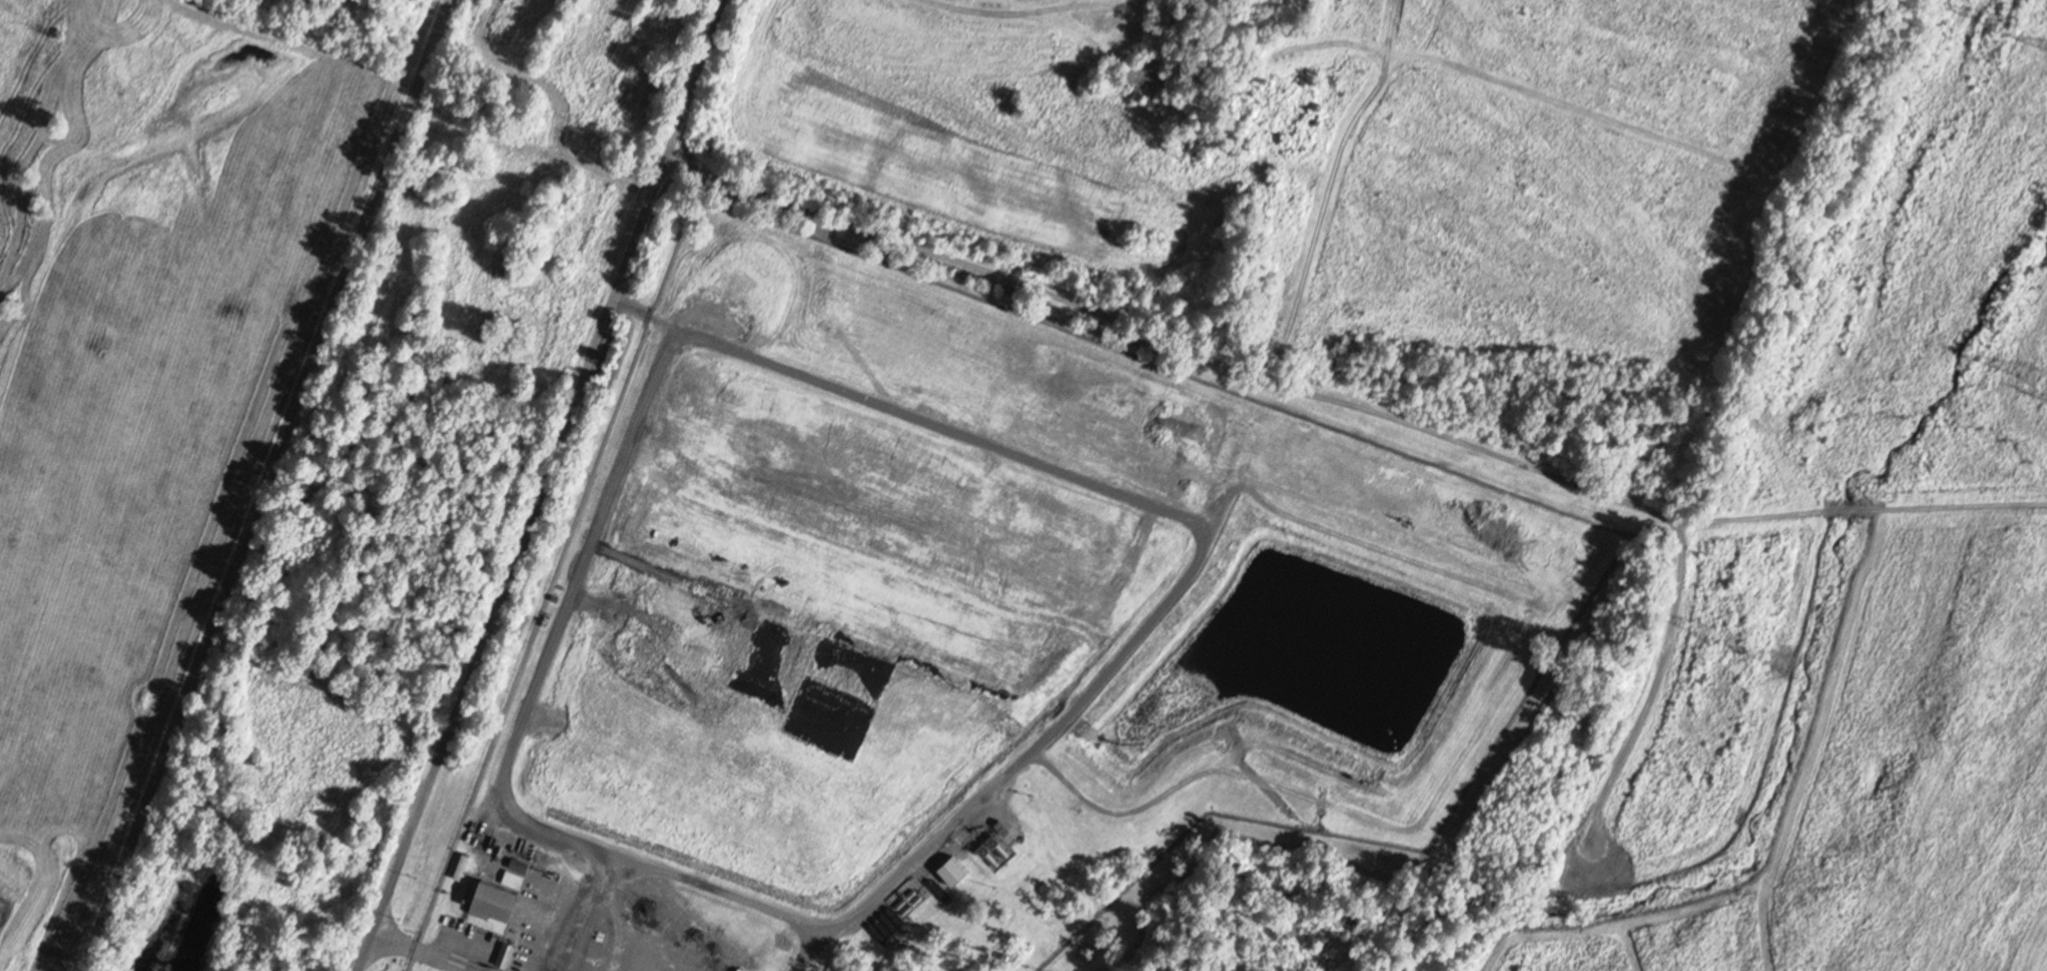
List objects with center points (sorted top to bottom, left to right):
power tower: (1987, 18)
power tower: (2030, 373)
road: (266, 485)
road: (526, 485)
power tower: (1702, 628)
power tower: (1774, 658)
building: (950, 870)
building: (489, 900)
building: (503, 955)
building: (738, 969)

